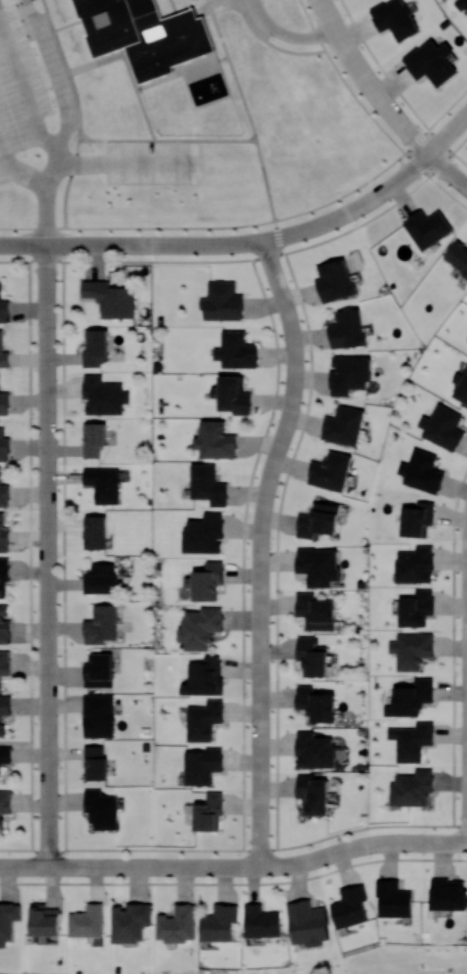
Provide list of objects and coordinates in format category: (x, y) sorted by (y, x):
building: (463, 3)
building: (394, 18)
road: (287, 33)
building: (144, 34)
road: (270, 44)
building: (431, 62)
road: (368, 82)
road: (396, 88)
road: (24, 90)
parking lot: (18, 91)
road: (77, 112)
road: (370, 115)
road: (249, 117)
road: (67, 120)
road: (448, 134)
road: (167, 139)
parking lot: (151, 162)
road: (123, 164)
road: (448, 169)
road: (19, 171)
road: (391, 185)
road: (210, 227)
building: (427, 228)
road: (252, 242)
road: (75, 245)
building: (457, 256)
building: (335, 281)
building: (110, 298)
building: (222, 301)
building: (3, 307)
building: (347, 329)
building: (96, 348)
building: (236, 351)
building: (3, 354)
building: (349, 374)
building: (461, 388)
building: (103, 395)
building: (233, 395)
building: (4, 403)
building: (343, 425)
building: (442, 427)
building: (93, 439)
building: (215, 440)
building: (4, 446)
building: (330, 471)
building: (421, 471)
building: (103, 484)
building: (207, 484)
building: (4, 493)
building: (417, 519)
building: (318, 520)
building: (95, 532)
building: (204, 534)
building: (4, 536)
road: (260, 549)
road: (48, 556)
building: (318, 565)
building: (415, 565)
building: (4, 575)
building: (101, 579)
building: (208, 581)
building: (416, 608)
building: (316, 611)
building: (4, 625)
building: (101, 625)
building: (200, 626)
building: (411, 650)
building: (312, 656)
building: (5, 664)
building: (99, 671)
building: (204, 676)
building: (410, 698)
building: (316, 704)
building: (4, 710)
building: (98, 716)
building: (204, 718)
building: (411, 741)
building: (314, 750)
building: (5, 755)
building: (95, 763)
building: (201, 765)
building: (412, 788)
building: (313, 794)
building: (4, 805)
building: (101, 809)
building: (208, 810)
road: (310, 859)
road: (76, 867)
building: (448, 894)
building: (393, 899)
building: (350, 907)
building: (8, 920)
building: (44, 920)
building: (87, 921)
building: (130, 921)
building: (261, 921)
building: (219, 923)
building: (307, 923)
building: (177, 924)
park: (365, 962)
park: (3, 973)

